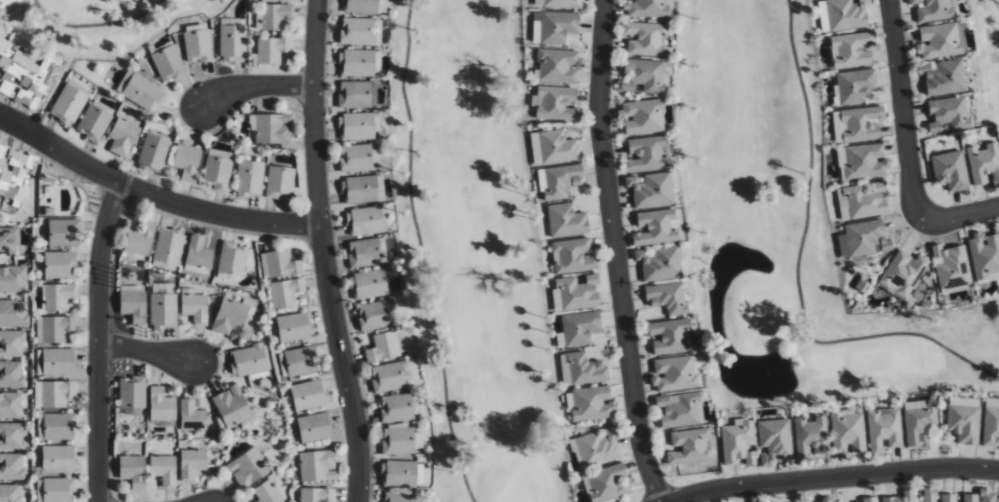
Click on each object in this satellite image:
building: (558, 3)
road: (996, 5)
building: (365, 6)
building: (13, 8)
building: (646, 8)
building: (934, 9)
building: (842, 14)
building: (275, 15)
park: (108, 23)
road: (96, 26)
building: (555, 26)
building: (361, 31)
building: (645, 38)
building: (939, 40)
building: (233, 41)
building: (197, 42)
building: (272, 49)
building: (852, 49)
building: (357, 62)
building: (168, 63)
building: (557, 66)
building: (643, 75)
building: (25, 76)
building: (943, 77)
road: (255, 86)
building: (854, 86)
building: (142, 91)
building: (355, 94)
building: (70, 101)
building: (555, 103)
road: (903, 110)
building: (949, 113)
building: (642, 116)
building: (96, 118)
building: (858, 124)
building: (358, 125)
building: (271, 127)
building: (123, 136)
building: (554, 147)
building: (154, 153)
building: (646, 154)
building: (356, 157)
building: (862, 160)
building: (187, 162)
building: (984, 164)
building: (218, 170)
building: (951, 170)
building: (15, 173)
building: (250, 178)
building: (559, 180)
building: (280, 182)
building: (360, 189)
building: (651, 190)
road: (152, 195)
building: (863, 201)
road: (961, 216)
building: (566, 220)
building: (366, 221)
building: (656, 227)
park: (788, 231)
building: (64, 232)
building: (141, 238)
building: (9, 239)
building: (864, 239)
building: (169, 248)
road: (323, 252)
building: (365, 252)
road: (423, 252)
park: (474, 252)
road: (615, 252)
building: (198, 254)
building: (573, 256)
building: (985, 256)
building: (232, 258)
building: (660, 262)
building: (60, 264)
building: (279, 264)
building: (952, 267)
road: (798, 269)
building: (903, 274)
building: (13, 278)
building: (369, 284)
building: (286, 291)
building: (576, 293)
building: (58, 295)
building: (668, 297)
building: (133, 302)
building: (163, 306)
building: (195, 307)
building: (14, 312)
building: (231, 318)
building: (294, 327)
building: (56, 328)
building: (578, 328)
building: (670, 336)
road: (99, 341)
building: (12, 343)
building: (385, 346)
road: (147, 352)
building: (582, 369)
building: (674, 373)
building: (11, 374)
building: (390, 377)
building: (132, 391)
building: (53, 393)
building: (309, 394)
building: (591, 403)
building: (10, 405)
building: (162, 405)
building: (232, 406)
building: (397, 407)
building: (679, 409)
building: (192, 415)
building: (919, 420)
building: (991, 421)
building: (964, 422)
building: (59, 426)
building: (314, 427)
building: (884, 428)
building: (848, 432)
building: (11, 436)
building: (775, 437)
building: (811, 437)
building: (419, 439)
building: (398, 440)
building: (738, 441)
building: (690, 446)
building: (595, 448)
building: (59, 458)
building: (192, 463)
building: (318, 465)
building: (11, 466)
building: (248, 467)
building: (164, 469)
building: (133, 470)
building: (399, 473)
road: (832, 478)
building: (608, 483)
building: (59, 489)
building: (268, 492)
building: (10, 493)
building: (316, 494)
building: (930, 494)
building: (981, 496)
building: (398, 497)
building: (902, 497)
building: (949, 497)
building: (868, 500)
building: (823, 501)

